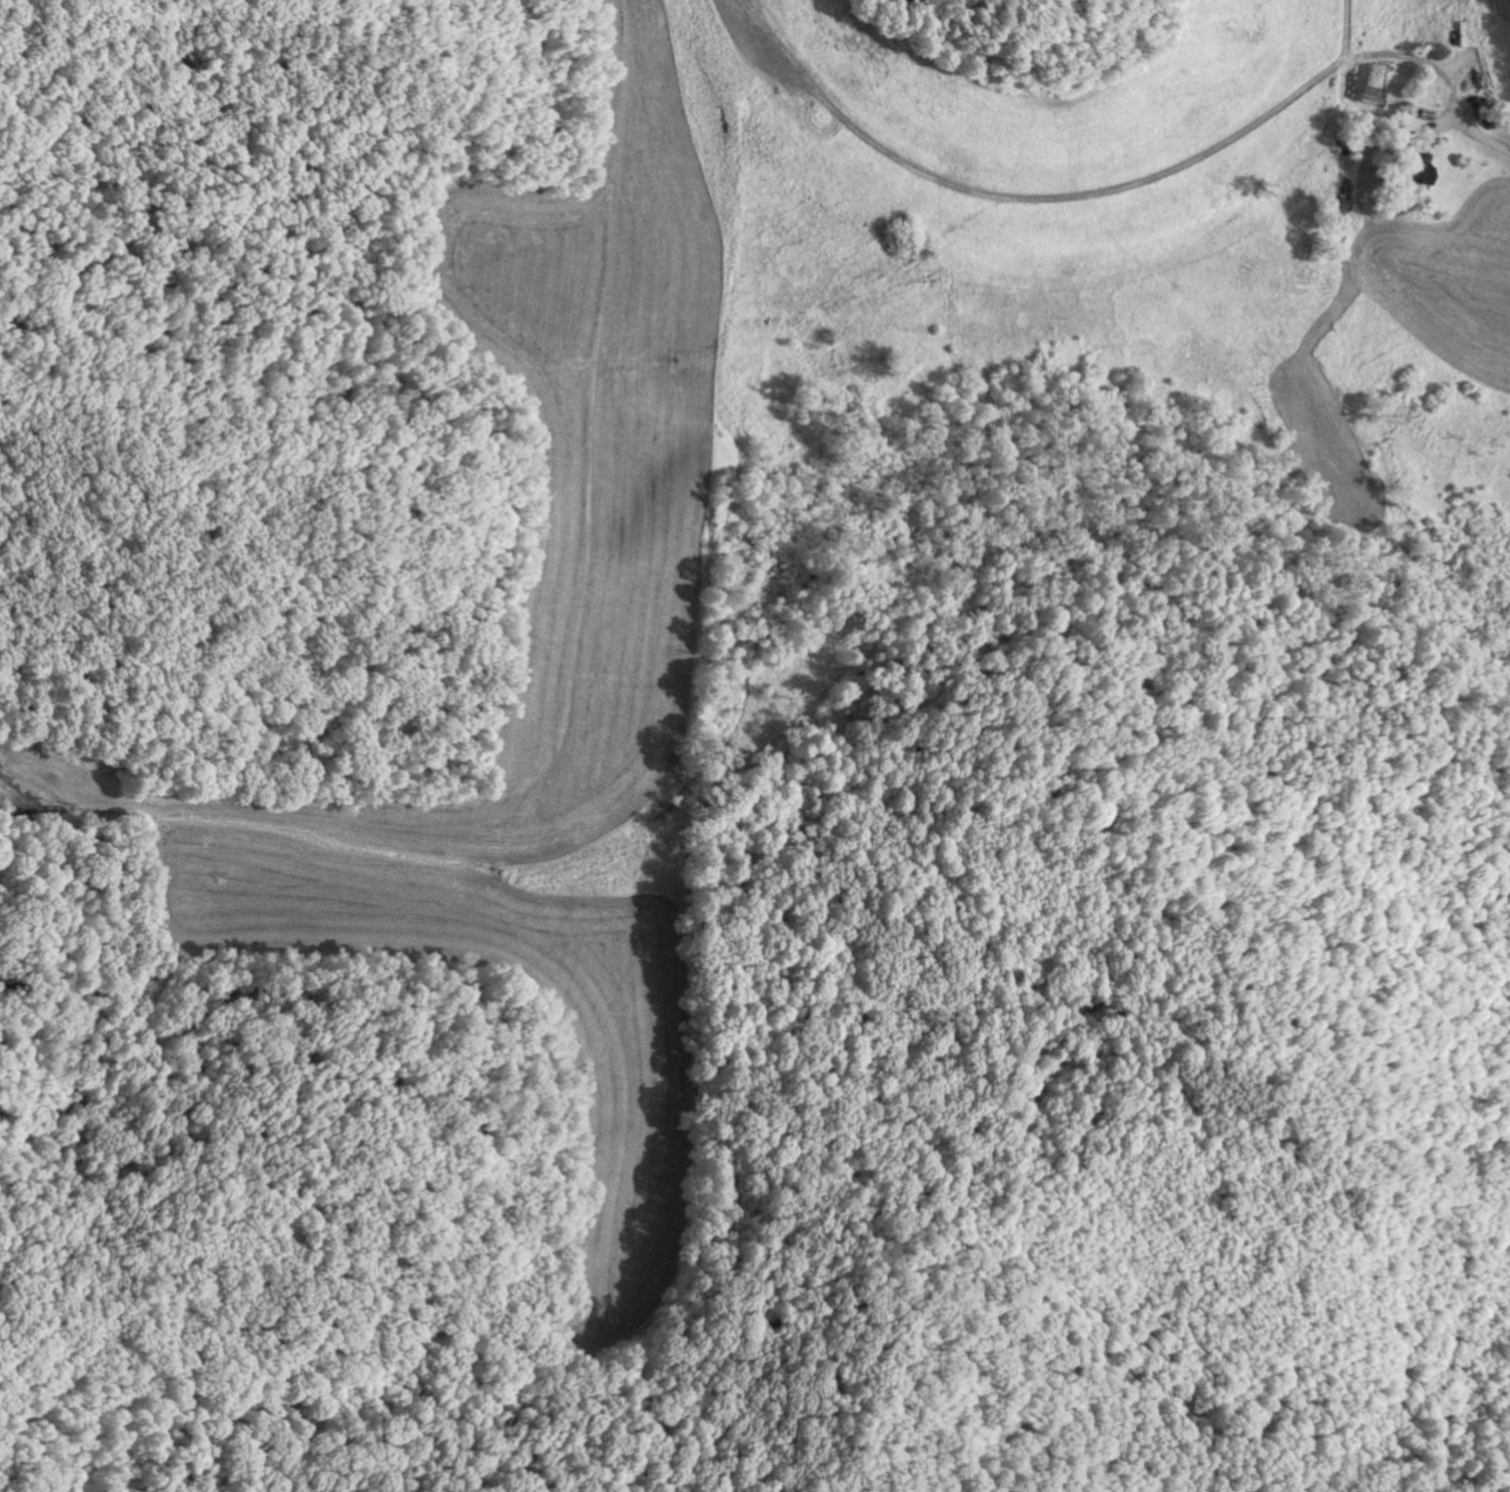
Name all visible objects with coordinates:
road: (1469, 123)
building: (1412, 167)
crop: (1455, 276)
crop: (677, 551)

